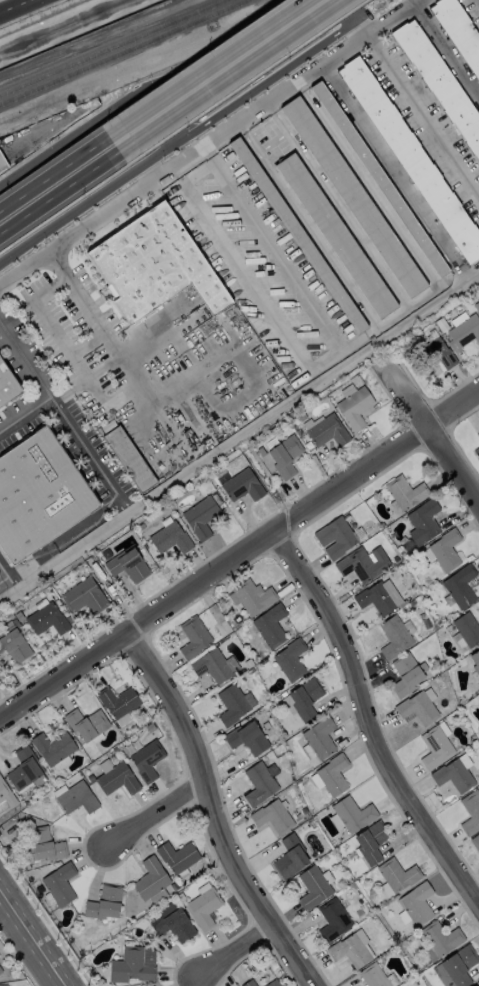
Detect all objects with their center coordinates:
road: (478, 1)
road: (8, 3)
road: (351, 7)
road: (366, 23)
building: (461, 29)
railway: (115, 49)
road: (445, 51)
railway: (126, 54)
road: (213, 72)
building: (442, 82)
road: (422, 116)
road: (178, 127)
road: (207, 141)
building: (411, 158)
building: (1, 162)
road: (146, 171)
road: (394, 171)
building: (378, 178)
road: (55, 182)
building: (352, 196)
building: (335, 234)
road: (270, 248)
building: (152, 264)
road: (78, 294)
road: (42, 314)
building: (464, 328)
building: (438, 353)
road: (27, 360)
building: (6, 386)
road: (304, 388)
road: (158, 399)
road: (99, 400)
building: (354, 407)
road: (67, 418)
building: (325, 429)
building: (477, 434)
road: (443, 438)
building: (476, 452)
building: (284, 455)
building: (127, 458)
building: (242, 485)
building: (403, 493)
building: (38, 494)
building: (200, 516)
building: (422, 522)
building: (169, 537)
building: (334, 537)
road: (82, 542)
building: (443, 550)
road: (238, 556)
building: (362, 563)
building: (127, 564)
road: (7, 573)
building: (460, 586)
road: (14, 588)
building: (83, 595)
building: (251, 596)
building: (378, 596)
building: (46, 618)
building: (269, 625)
building: (467, 628)
building: (193, 636)
building: (393, 636)
building: (458, 641)
building: (14, 645)
building: (474, 659)
building: (289, 660)
building: (213, 665)
building: (406, 672)
building: (302, 699)
building: (117, 700)
building: (233, 703)
building: (417, 707)
road: (373, 721)
building: (86, 723)
building: (247, 737)
building: (319, 737)
building: (435, 745)
building: (53, 747)
building: (146, 759)
building: (24, 767)
building: (454, 773)
building: (329, 775)
building: (116, 779)
building: (259, 782)
building: (5, 796)
building: (76, 797)
road: (217, 808)
building: (470, 811)
building: (352, 813)
building: (273, 815)
road: (152, 817)
building: (370, 841)
building: (475, 842)
building: (44, 844)
building: (177, 856)
building: (290, 856)
building: (395, 875)
building: (151, 880)
building: (59, 883)
building: (313, 886)
building: (104, 902)
building: (203, 905)
building: (415, 905)
building: (333, 919)
building: (172, 922)
road: (31, 939)
building: (439, 939)
road: (238, 946)
building: (349, 949)
building: (129, 965)
building: (455, 967)
building: (0, 970)
building: (376, 976)
building: (248, 983)
building: (272, 983)
building: (153, 985)
building: (473, 985)

